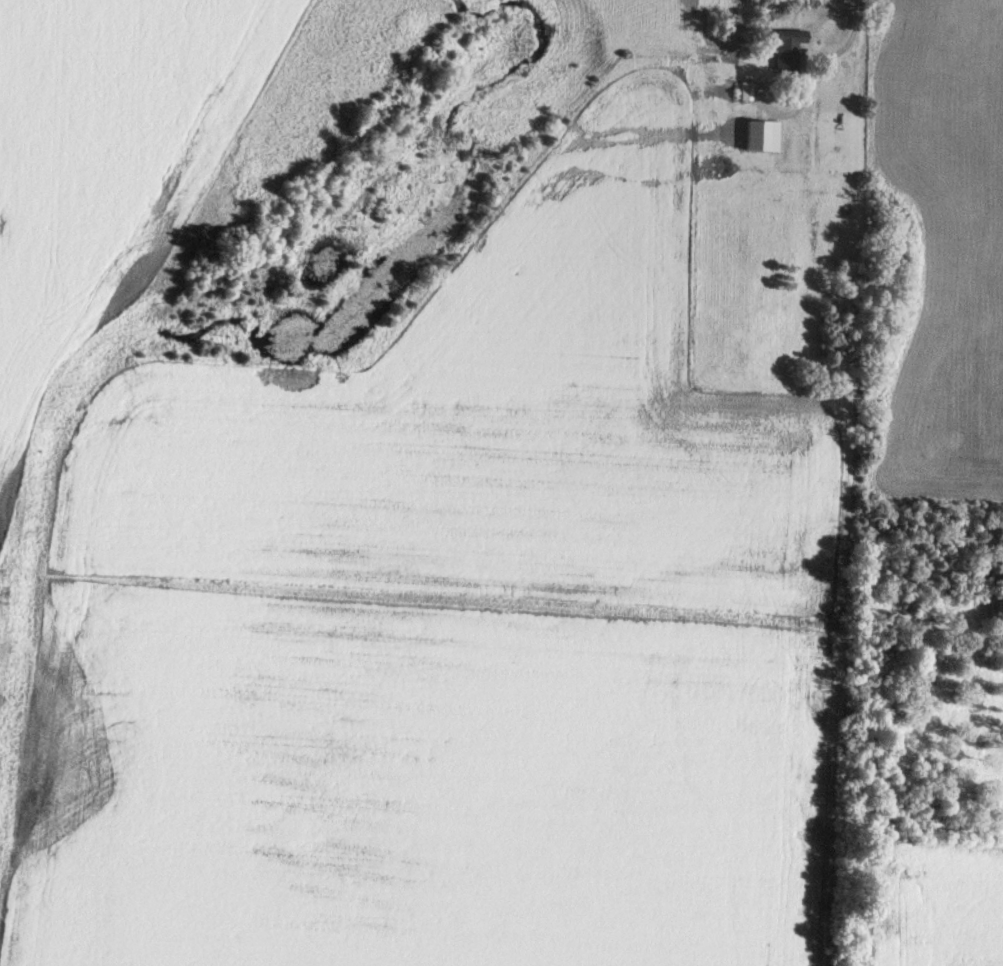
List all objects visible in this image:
road: (845, 46)
building: (790, 47)
building: (763, 133)

